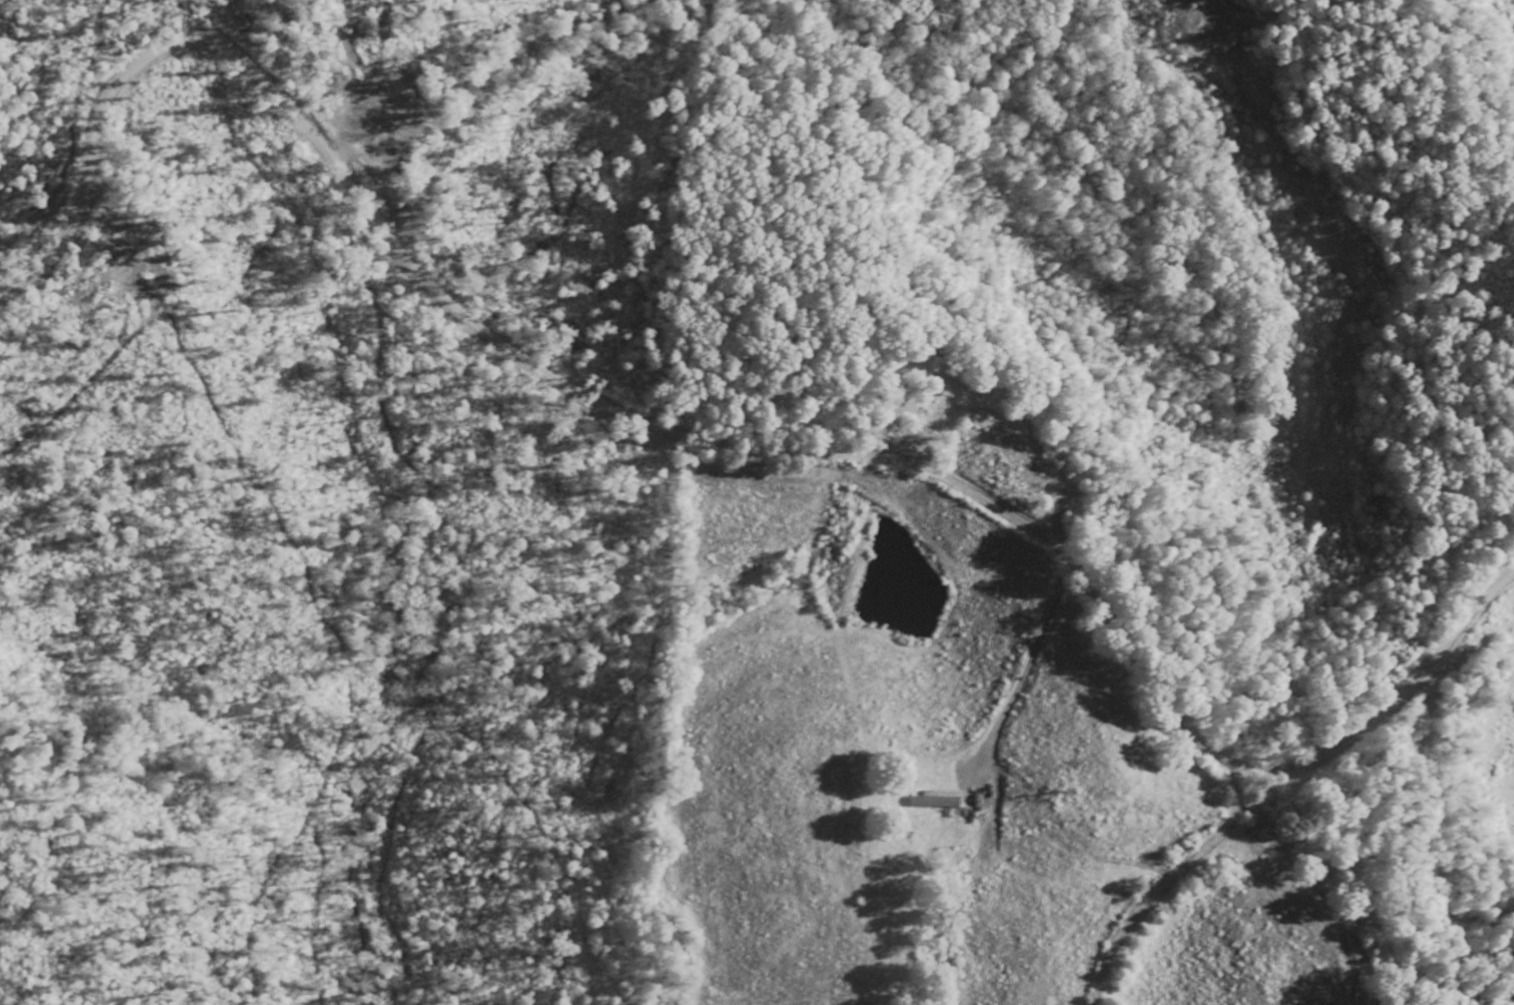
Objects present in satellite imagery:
road: (709, 440)

